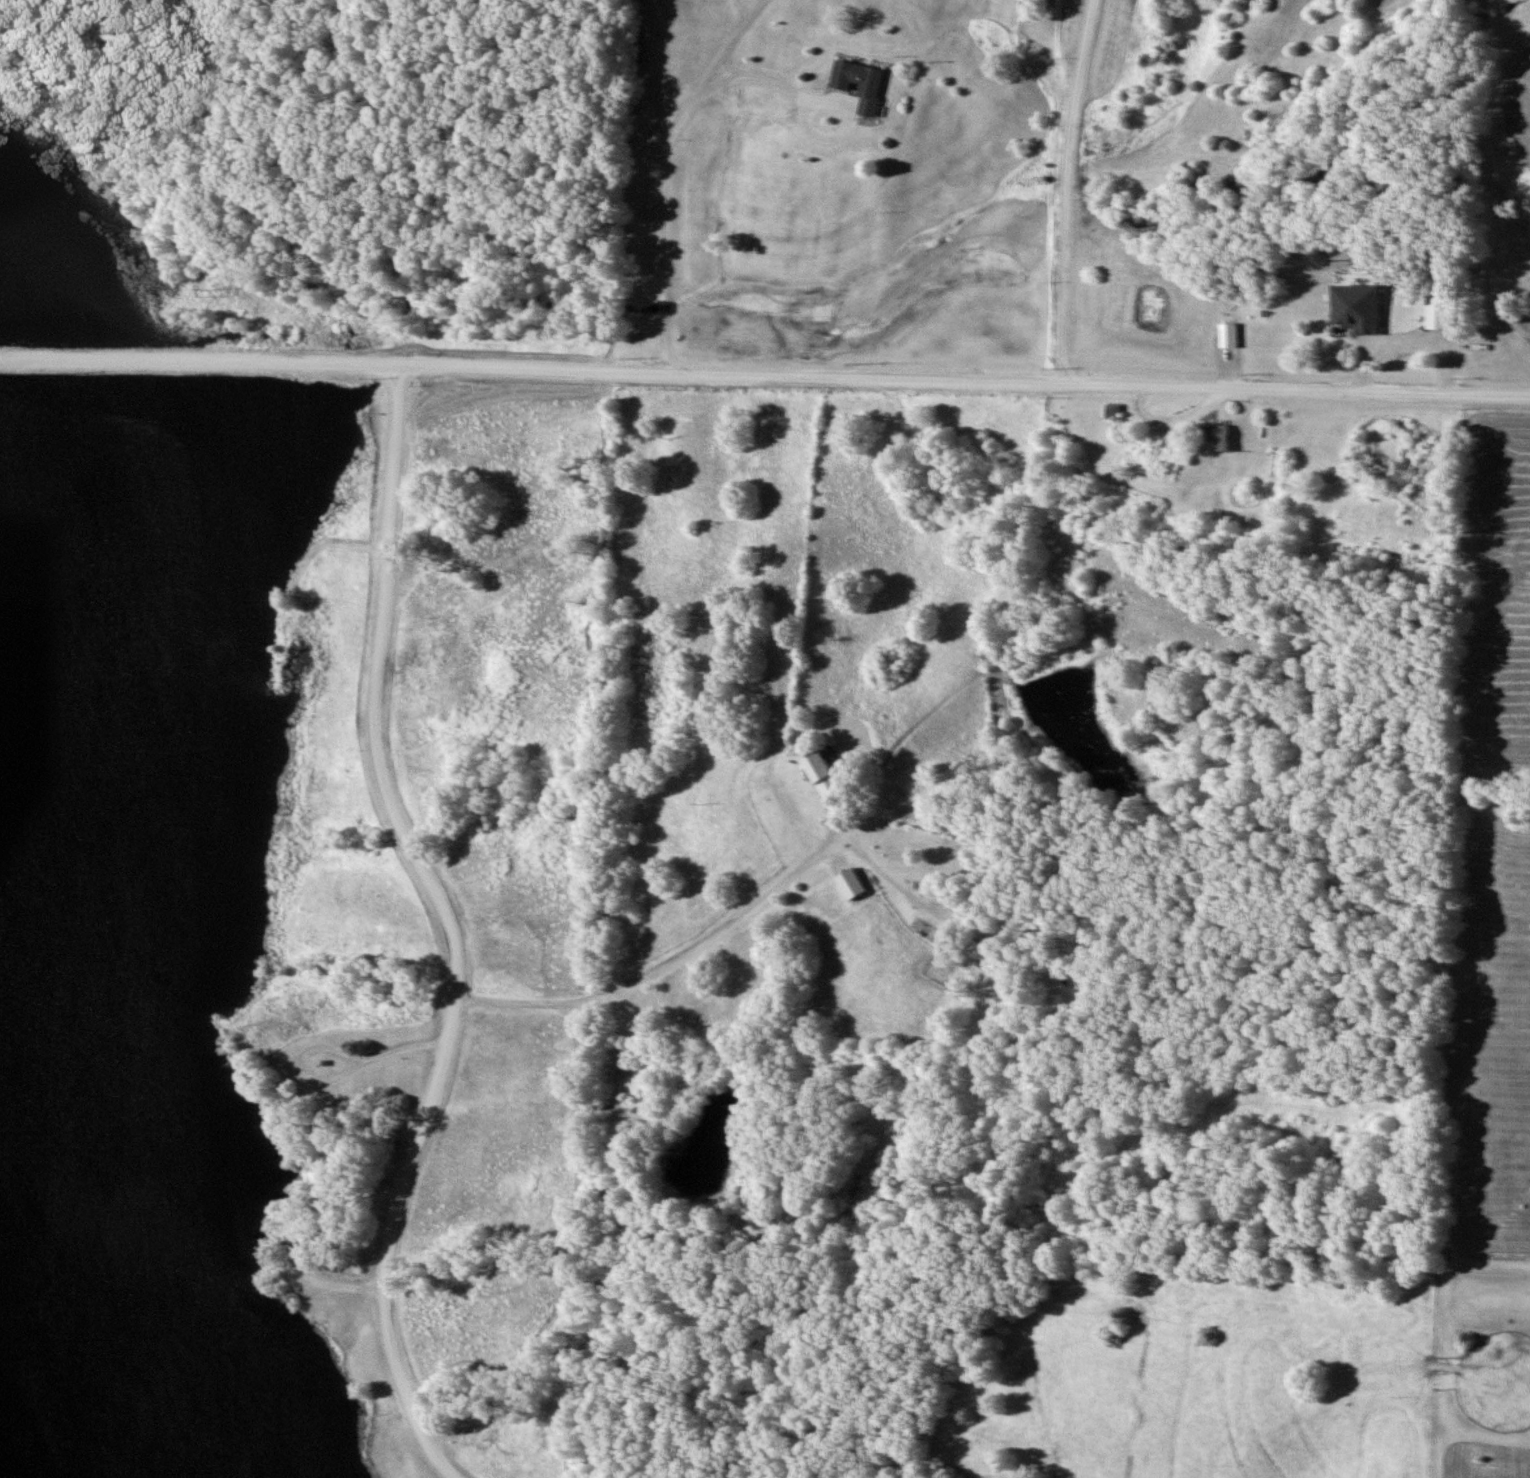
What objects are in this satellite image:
road: (787, 54)
building: (860, 85)
road: (836, 138)
road: (664, 181)
building: (1438, 313)
building: (1348, 317)
building: (1231, 335)
road: (765, 375)
building: (1114, 412)
building: (1213, 435)
building: (1275, 464)
building: (823, 778)
road: (453, 926)
building: (982, 952)
park: (705, 958)
road: (671, 967)
road: (402, 1049)
road: (329, 1050)

